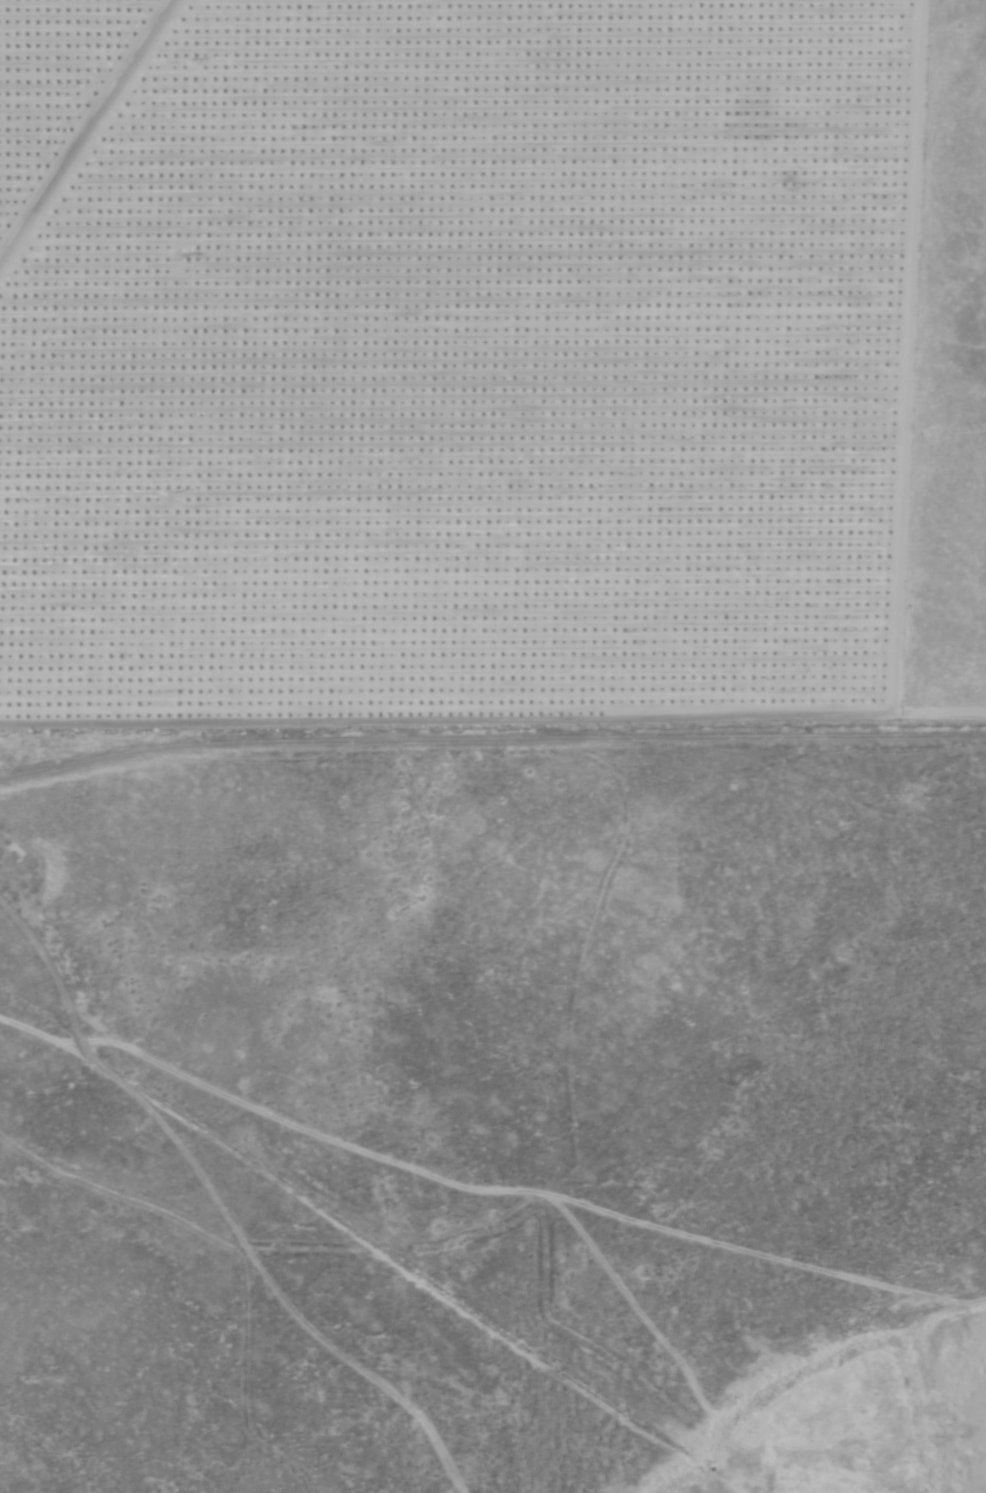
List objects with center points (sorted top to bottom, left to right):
crop: (52, 78)
crop: (459, 367)
road: (493, 744)

